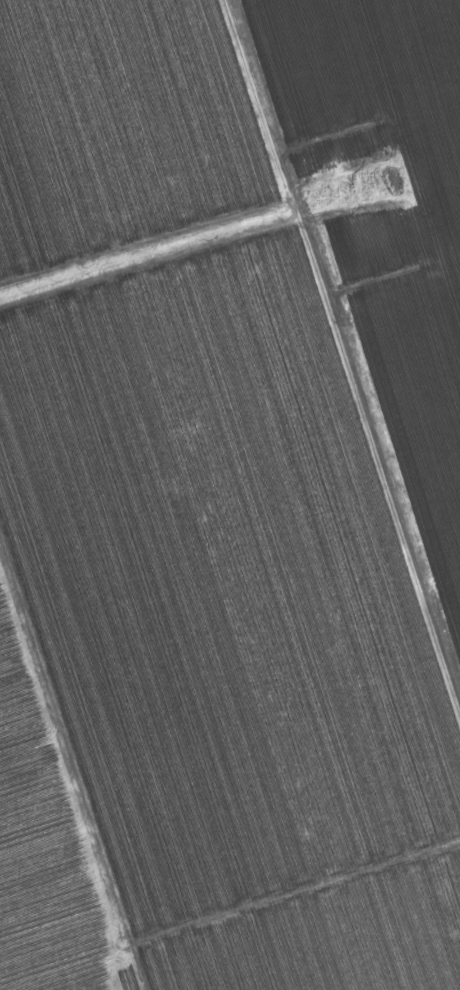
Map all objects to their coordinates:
road: (152, 251)

